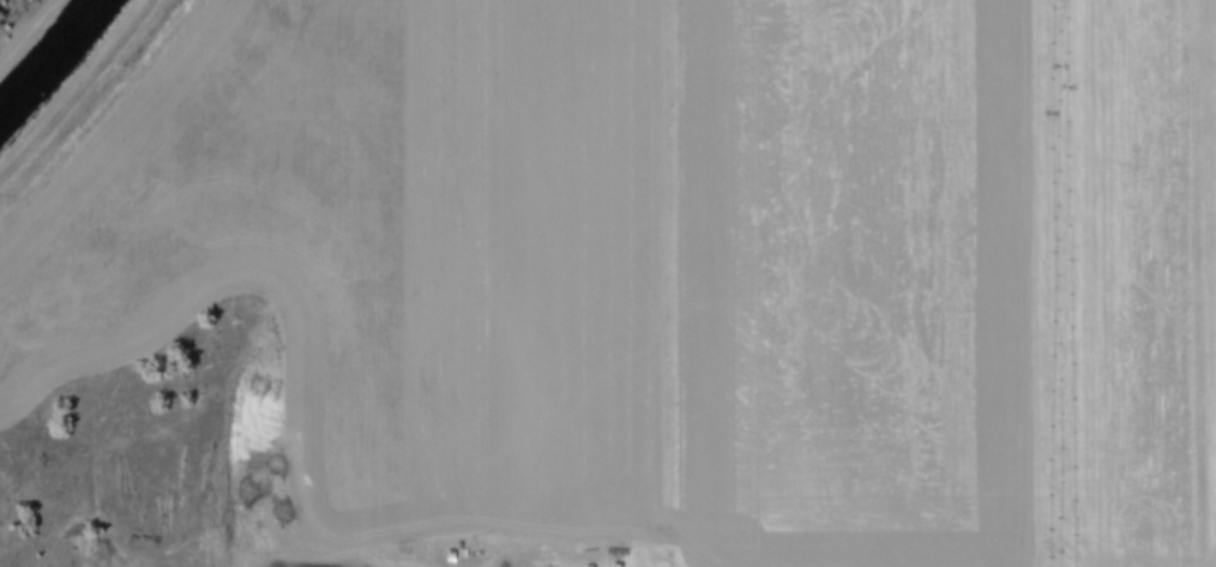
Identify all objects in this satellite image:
road: (80, 94)
crop: (608, 283)

